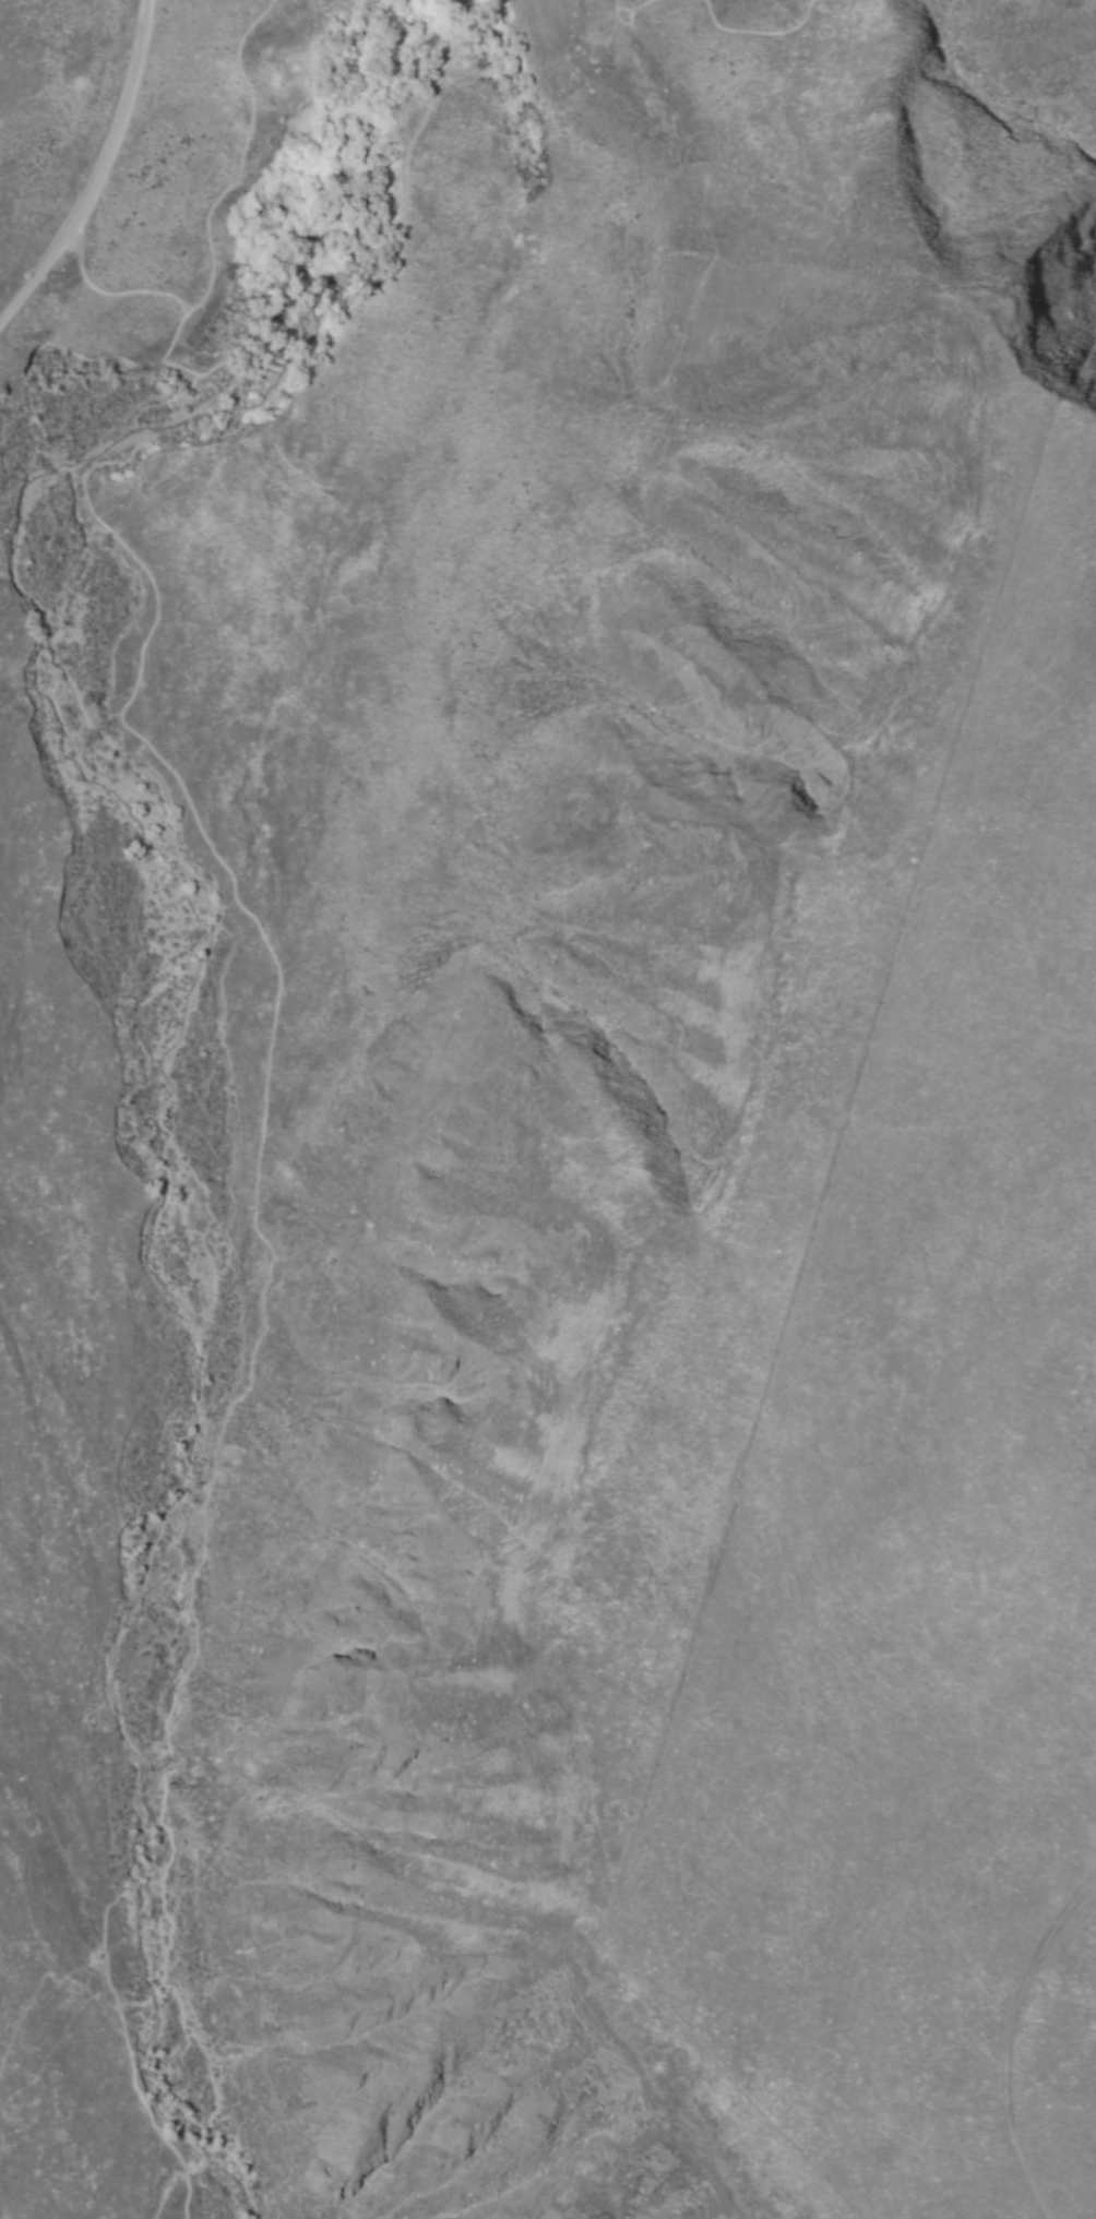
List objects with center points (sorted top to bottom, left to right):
road: (627, 14)
road: (753, 31)
road: (241, 163)
road: (103, 179)
road: (155, 300)
road: (271, 955)

